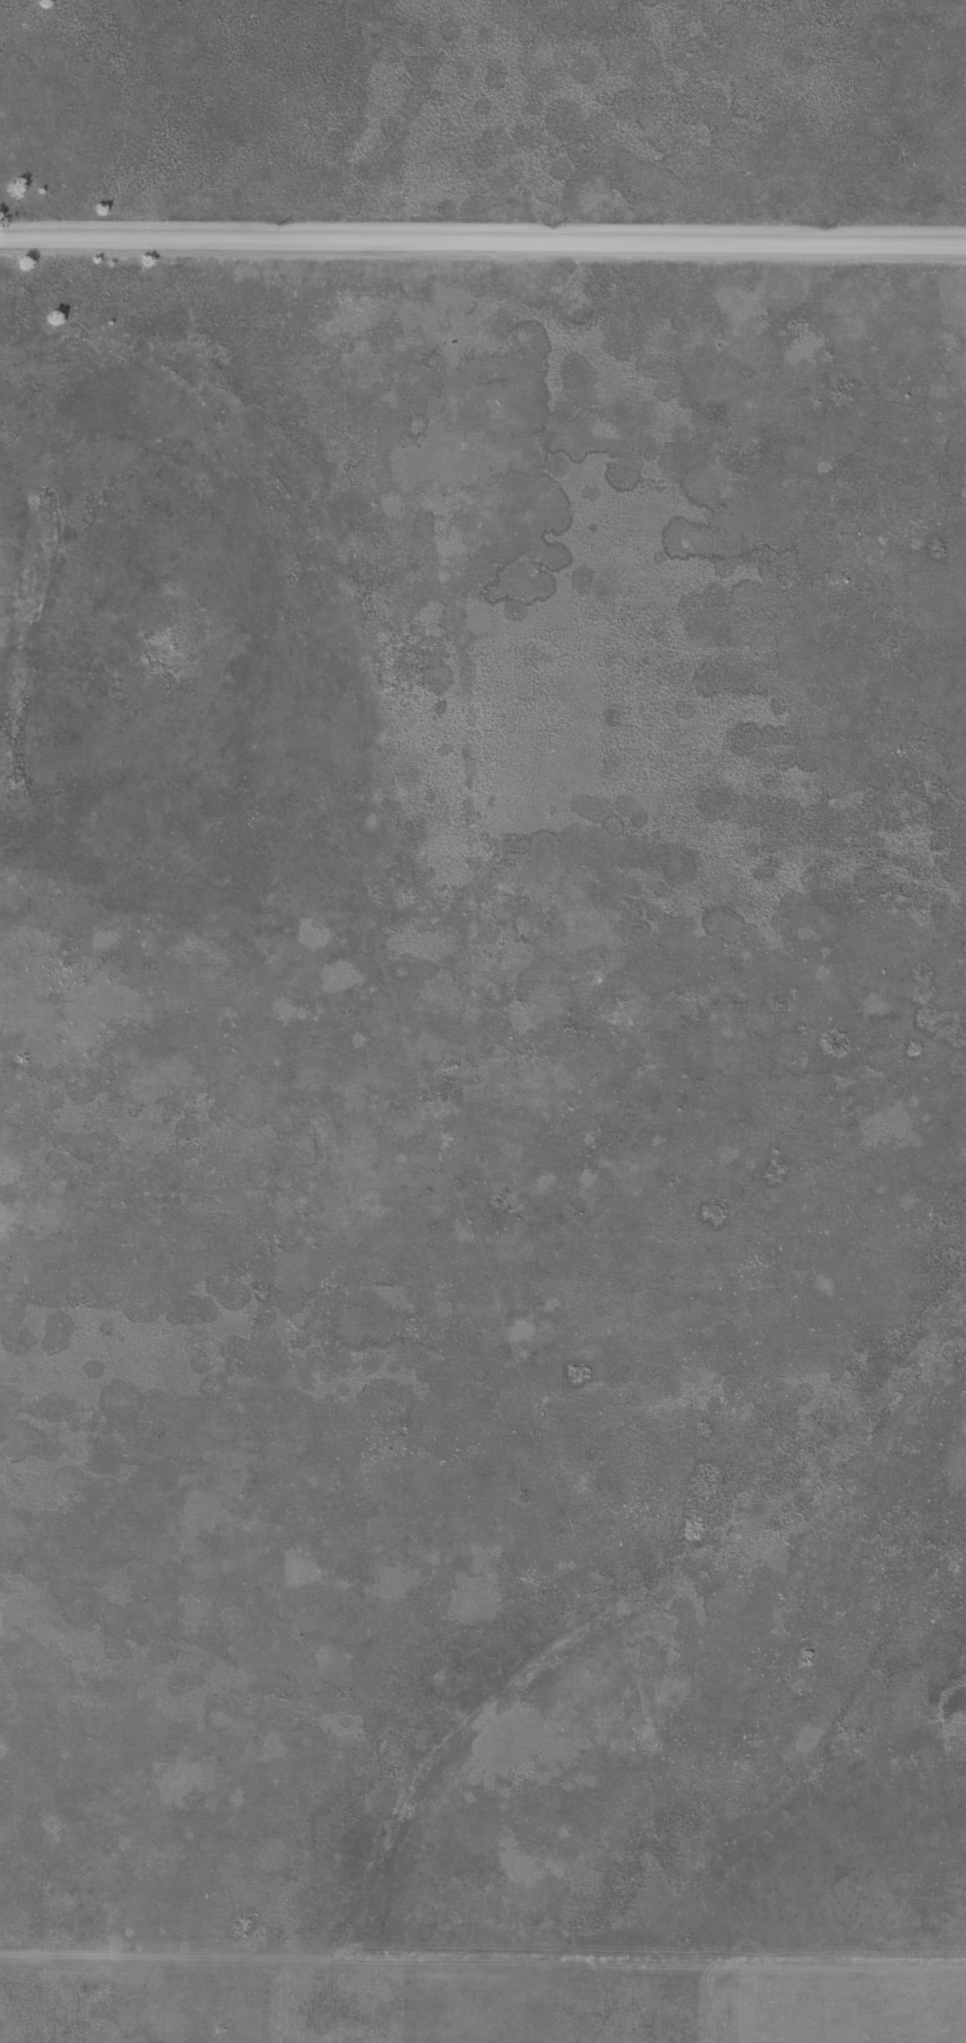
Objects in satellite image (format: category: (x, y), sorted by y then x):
road: (483, 233)
road: (658, 1629)
road: (413, 1948)

